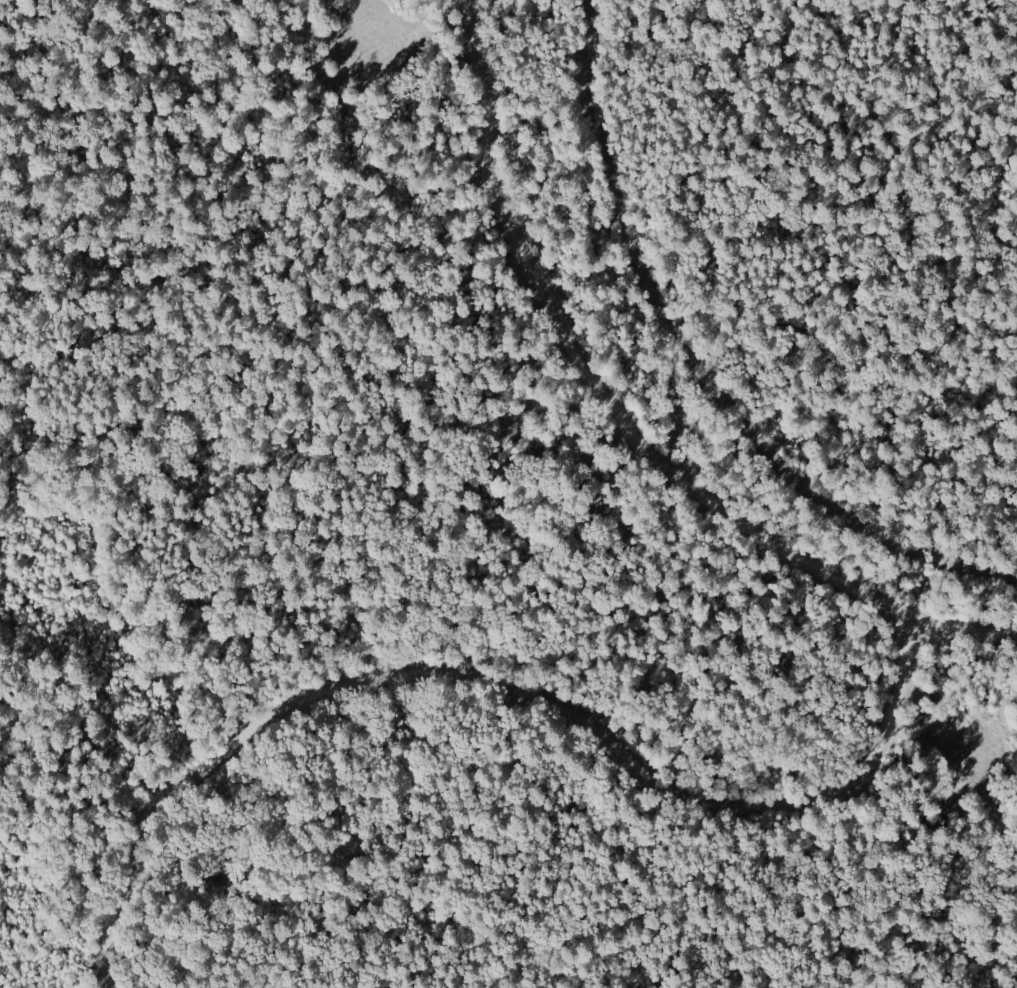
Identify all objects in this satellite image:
road: (94, 93)
road: (623, 424)
road: (355, 514)
road: (497, 681)

